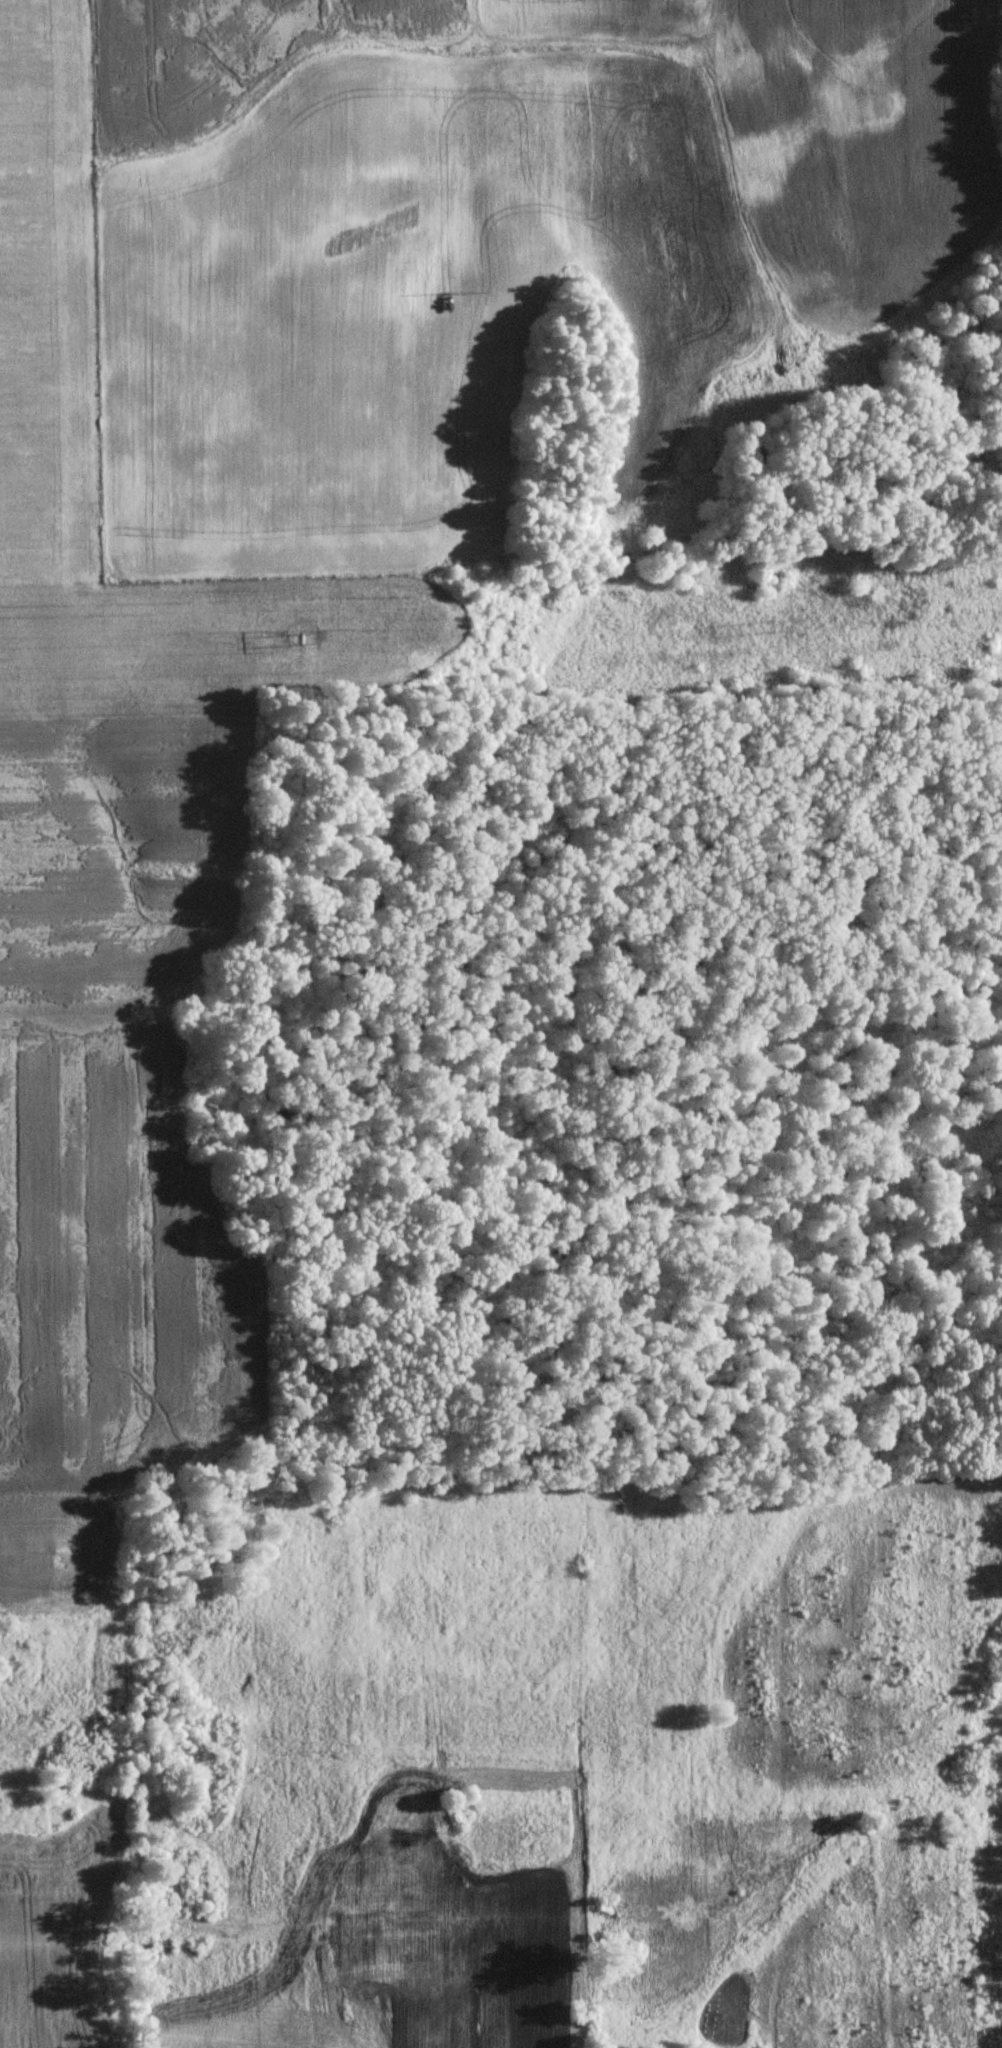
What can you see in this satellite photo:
power tower: (771, 626)
power tower: (304, 640)

